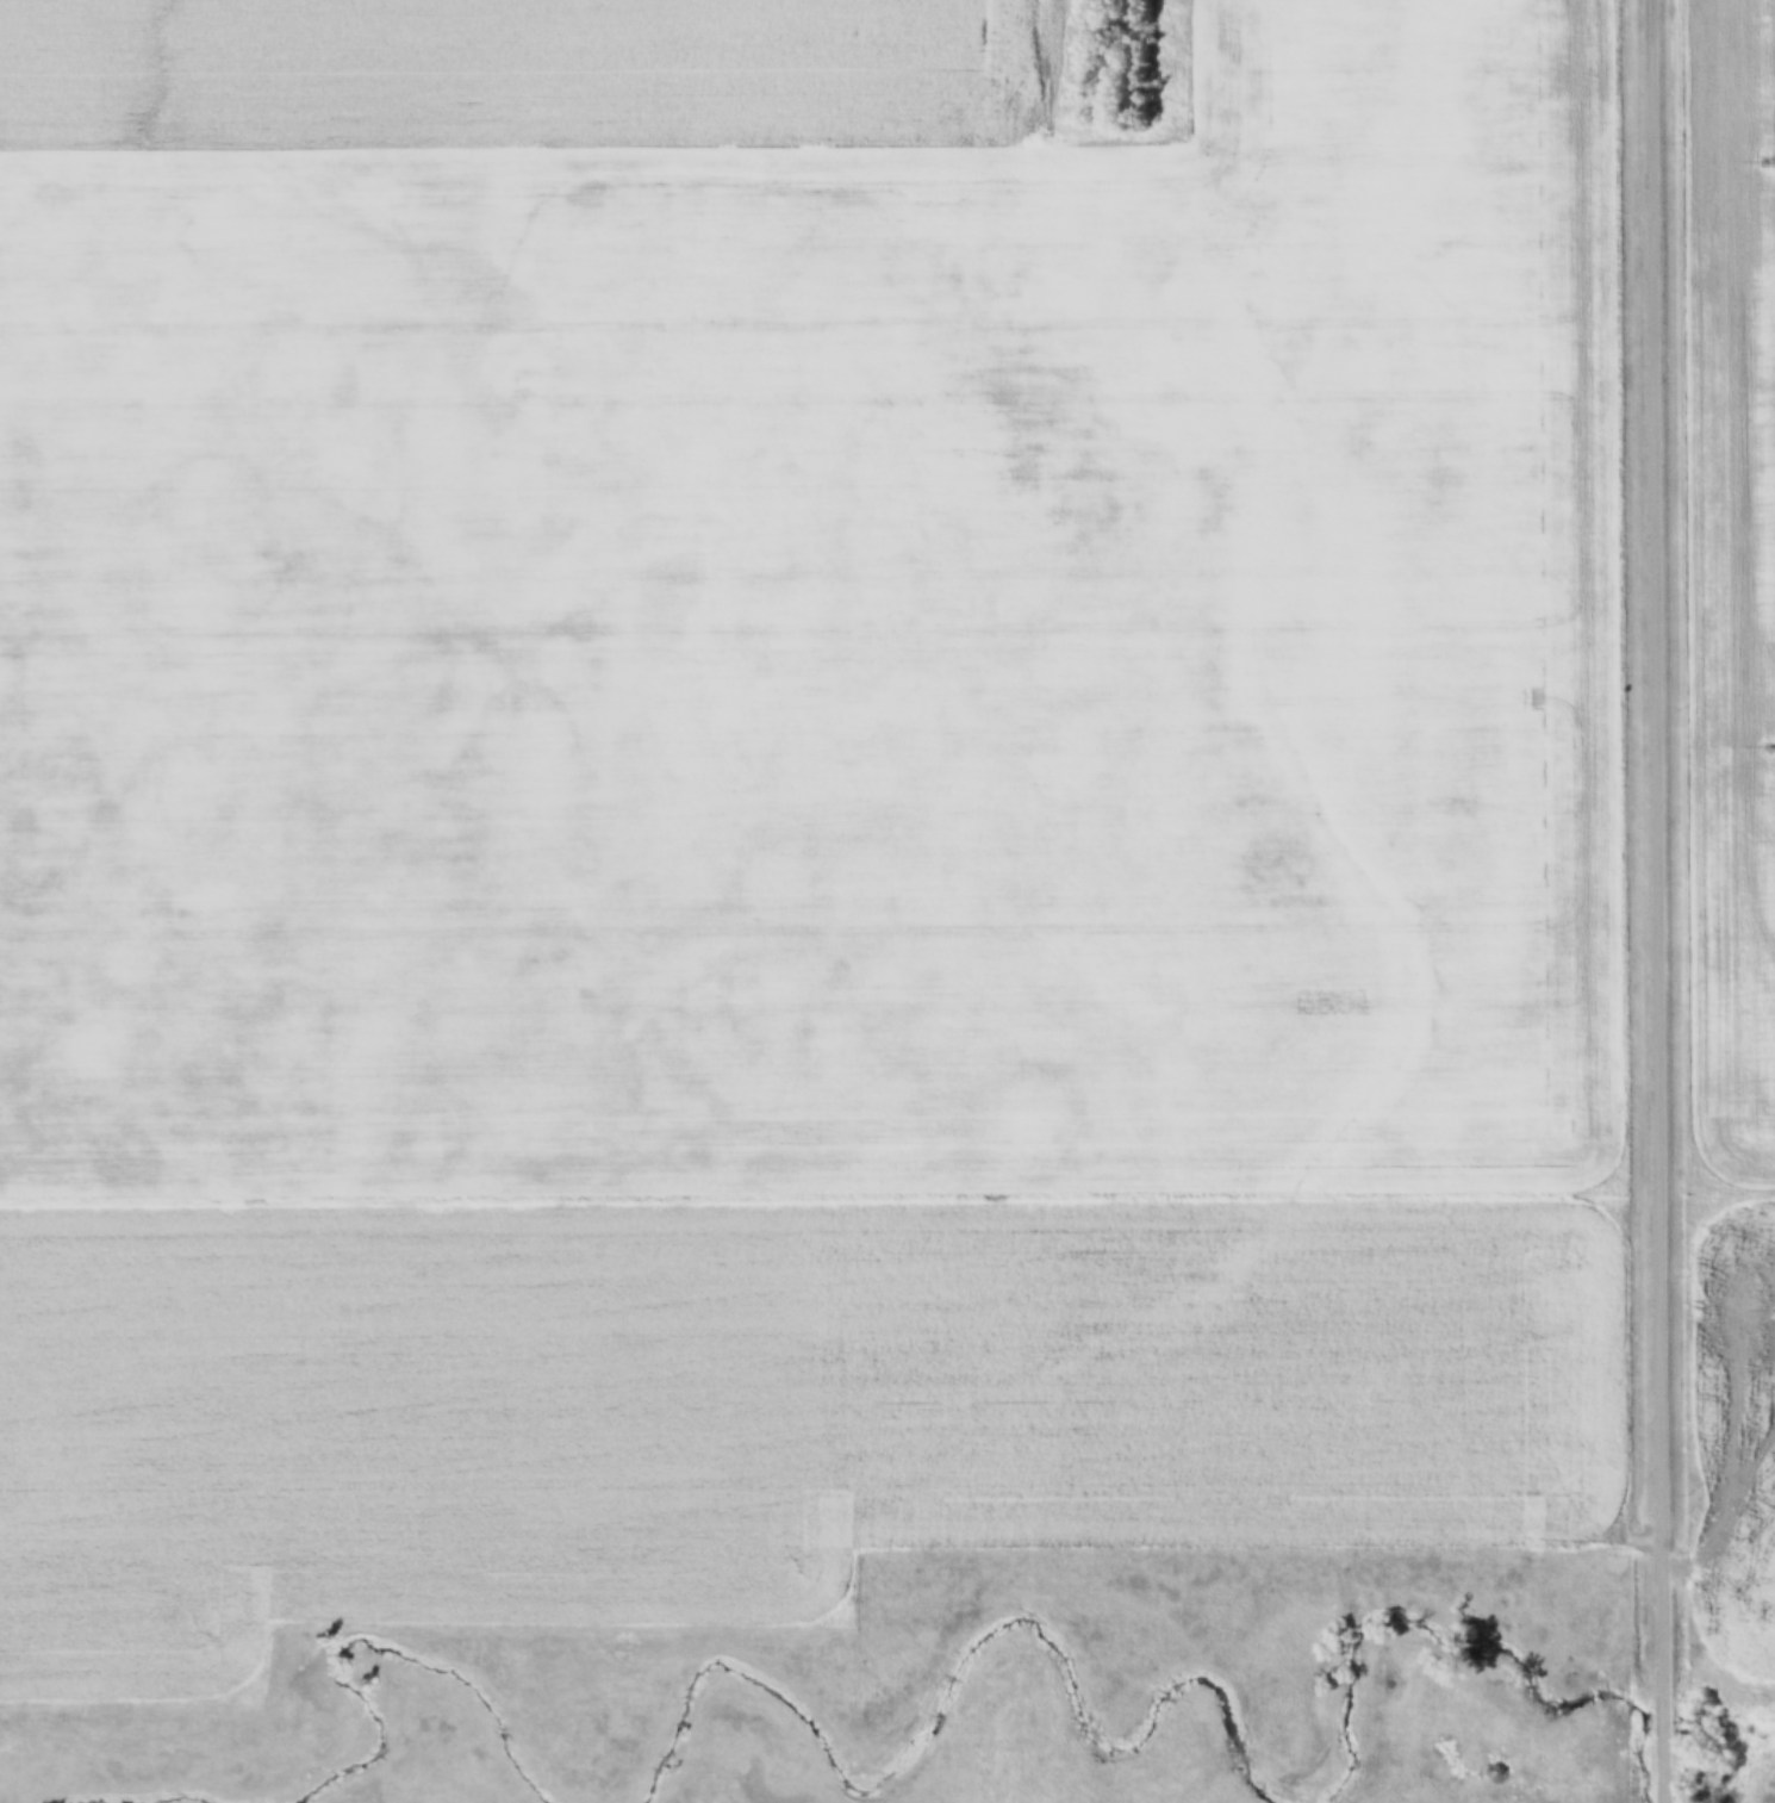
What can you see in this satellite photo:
power tower: (1770, 164)
power tower: (1774, 750)
road: (1662, 901)
building: (1383, 1802)

